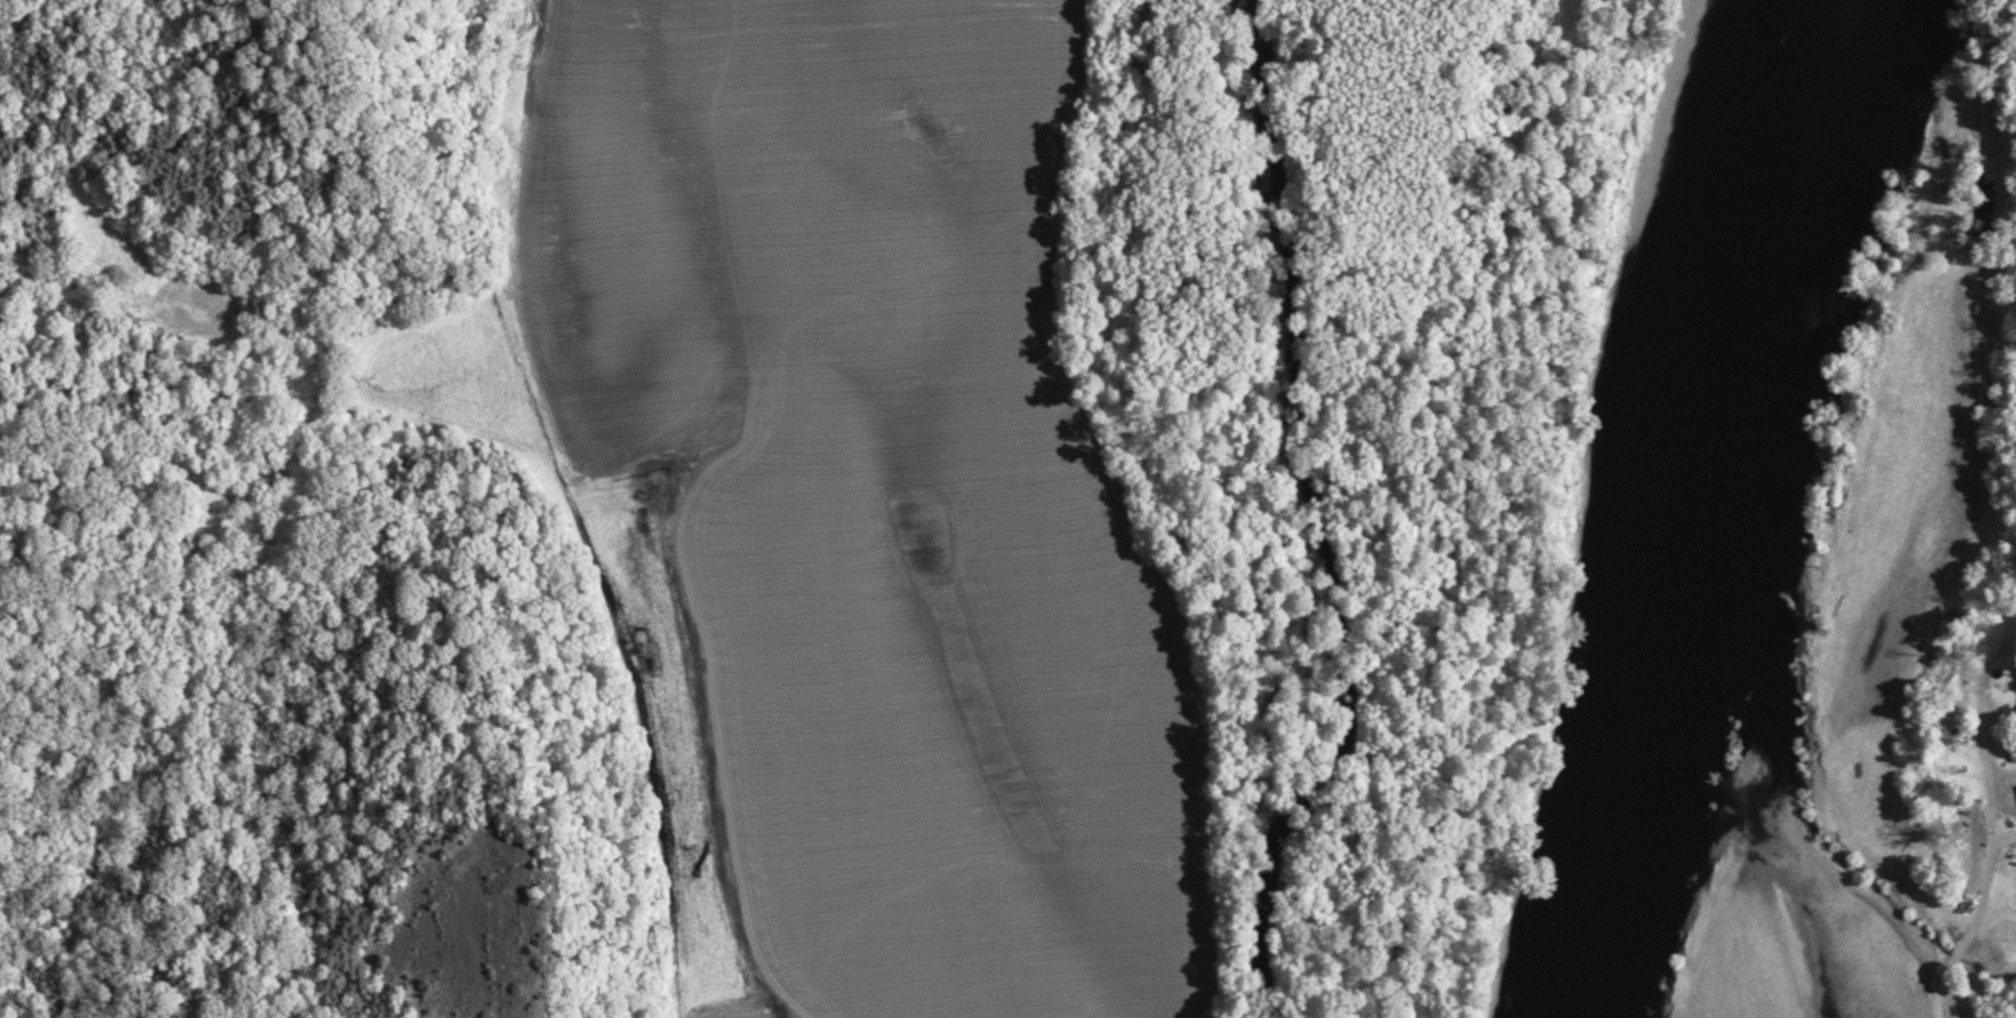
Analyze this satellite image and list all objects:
river: (1691, 498)
road: (1993, 831)
road: (2004, 839)

